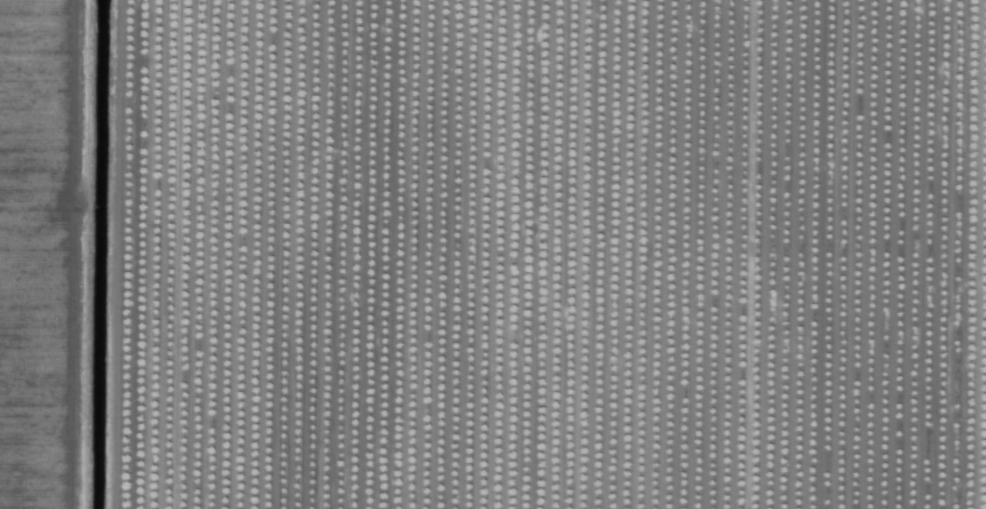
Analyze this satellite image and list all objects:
road: (981, 254)

